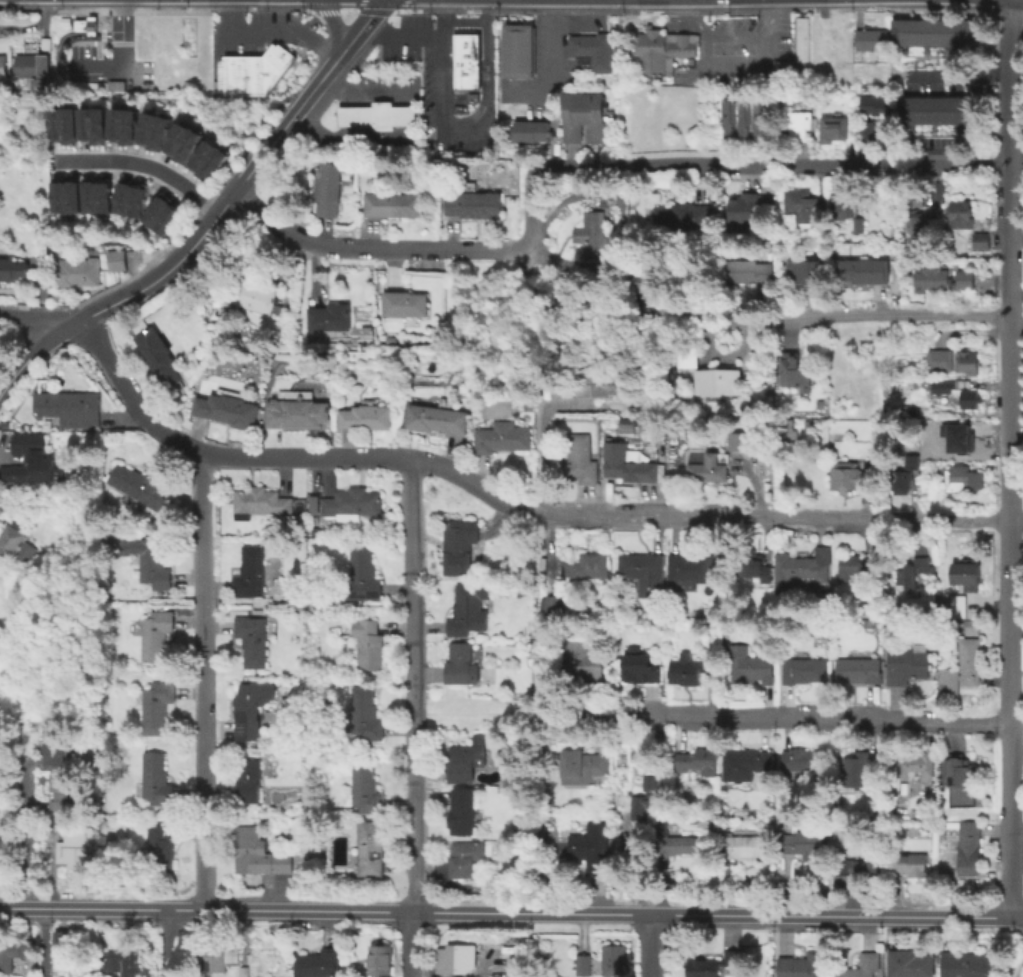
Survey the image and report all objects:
road: (402, 4)
road: (357, 5)
road: (108, 8)
road: (964, 8)
road: (230, 9)
road: (292, 9)
road: (415, 9)
road: (346, 10)
road: (393, 10)
road: (442, 10)
road: (464, 10)
road: (777, 10)
road: (801, 10)
road: (90, 11)
road: (373, 11)
road: (507, 11)
road: (551, 11)
road: (614, 11)
road: (682, 11)
road: (732, 11)
road: (325, 12)
road: (986, 12)
road: (1007, 12)
street lamp: (467, 14)
road: (100, 16)
road: (75, 17)
road: (388, 17)
road: (770, 18)
road: (689, 19)
building: (62, 21)
road: (69, 21)
road: (465, 21)
road: (331, 23)
building: (85, 25)
road: (71, 28)
parking lot: (262, 30)
road: (273, 31)
road: (453, 31)
road: (120, 32)
building: (930, 32)
road: (90, 34)
road: (100, 34)
road: (736, 34)
building: (832, 34)
road: (107, 35)
road: (396, 35)
road: (431, 36)
road: (478, 37)
building: (870, 39)
road: (100, 41)
road: (90, 42)
road: (120, 42)
road: (96, 43)
road: (244, 44)
street lamp: (108, 46)
road: (703, 48)
building: (516, 49)
building: (661, 49)
building: (591, 50)
parking lot: (86, 51)
road: (96, 51)
road: (337, 54)
building: (793, 55)
road: (248, 57)
building: (464, 58)
road: (488, 58)
road: (441, 59)
road: (728, 59)
road: (93, 64)
building: (3, 66)
building: (268, 68)
street lamp: (417, 68)
building: (32, 69)
road: (436, 69)
road: (552, 71)
road: (953, 74)
road: (63, 75)
parking lot: (138, 75)
building: (234, 75)
street lamp: (69, 81)
road: (333, 81)
parking lot: (432, 83)
building: (214, 87)
road: (374, 89)
road: (454, 91)
road: (411, 95)
road: (343, 97)
road: (355, 97)
road: (364, 97)
road: (399, 97)
building: (787, 100)
road: (451, 102)
building: (874, 104)
building: (933, 110)
road: (343, 115)
road: (355, 115)
road: (364, 115)
building: (376, 115)
road: (398, 115)
road: (411, 115)
building: (744, 115)
building: (759, 115)
building: (729, 116)
building: (571, 117)
building: (593, 117)
building: (85, 122)
building: (115, 122)
building: (56, 123)
building: (99, 124)
building: (794, 124)
building: (70, 125)
road: (444, 125)
building: (129, 126)
building: (147, 127)
building: (830, 127)
building: (865, 129)
building: (526, 130)
road: (343, 131)
road: (354, 131)
road: (364, 131)
road: (472, 131)
building: (159, 132)
road: (398, 132)
building: (177, 137)
road: (353, 138)
street lamp: (422, 138)
road: (1017, 143)
building: (187, 146)
building: (203, 154)
building: (212, 164)
road: (143, 166)
road: (774, 166)
building: (325, 188)
building: (57, 196)
building: (71, 196)
building: (911, 196)
building: (88, 197)
building: (101, 197)
building: (121, 197)
building: (135, 201)
building: (392, 204)
building: (471, 204)
building: (798, 205)
building: (741, 207)
building: (155, 208)
road: (533, 210)
building: (843, 212)
building: (958, 213)
building: (682, 215)
building: (165, 220)
road: (618, 222)
building: (918, 224)
road: (198, 234)
building: (590, 235)
building: (978, 240)
building: (38, 248)
road: (373, 248)
building: (115, 260)
building: (12, 269)
building: (861, 270)
building: (747, 271)
building: (802, 271)
building: (74, 272)
building: (647, 272)
building: (939, 279)
building: (255, 297)
building: (403, 303)
road: (34, 317)
building: (327, 317)
road: (742, 317)
road: (1017, 321)
building: (933, 332)
building: (391, 340)
road: (31, 351)
building: (155, 355)
building: (951, 361)
building: (793, 371)
building: (897, 372)
building: (709, 375)
building: (603, 384)
building: (955, 391)
building: (530, 404)
building: (69, 408)
building: (230, 410)
building: (301, 414)
building: (370, 417)
building: (439, 419)
building: (787, 431)
building: (959, 436)
building: (504, 437)
building: (738, 440)
road: (548, 453)
road: (1011, 457)
building: (581, 459)
building: (34, 460)
building: (912, 462)
building: (628, 463)
building: (706, 468)
building: (851, 475)
building: (960, 477)
building: (900, 478)
building: (139, 486)
building: (263, 502)
building: (355, 502)
road: (506, 506)
road: (1017, 520)
building: (19, 542)
building: (460, 545)
building: (155, 564)
building: (588, 566)
building: (850, 566)
building: (756, 568)
building: (689, 571)
building: (644, 572)
building: (806, 572)
building: (253, 573)
building: (965, 574)
building: (916, 575)
building: (361, 578)
building: (553, 604)
building: (818, 605)
building: (958, 605)
building: (867, 607)
building: (709, 610)
building: (466, 613)
building: (870, 623)
building: (820, 630)
building: (156, 635)
building: (252, 640)
building: (367, 643)
building: (727, 645)
building: (583, 660)
building: (459, 663)
building: (908, 664)
building: (751, 665)
building: (641, 667)
building: (962, 667)
building: (692, 669)
building: (804, 670)
building: (859, 670)
road: (206, 680)
building: (156, 706)
building: (249, 708)
building: (366, 714)
road: (503, 716)
road: (805, 717)
road: (418, 719)
building: (54, 744)
building: (802, 759)
building: (466, 760)
building: (697, 761)
building: (745, 763)
building: (856, 764)
building: (874, 764)
building: (915, 764)
building: (583, 768)
building: (956, 771)
building: (156, 779)
building: (249, 781)
building: (364, 788)
building: (59, 791)
building: (103, 796)
building: (932, 796)
building: (646, 797)
building: (463, 811)
building: (53, 829)
road: (26, 833)
building: (5, 838)
building: (802, 842)
building: (962, 843)
building: (682, 846)
building: (77, 847)
building: (591, 847)
building: (745, 847)
building: (371, 848)
building: (160, 849)
building: (259, 853)
building: (300, 857)
building: (466, 858)
building: (907, 863)
building: (857, 868)
road: (511, 912)
road: (40, 941)
road: (168, 942)
road: (647, 945)
building: (61, 947)
building: (13, 952)
building: (216, 957)
building: (455, 959)
building: (614, 959)
building: (380, 960)
building: (128, 962)
building: (318, 963)
building: (910, 963)
building: (583, 964)
building: (712, 964)
building: (968, 964)
building: (804, 965)
building: (861, 966)
building: (519, 968)
building: (250, 972)
road: (1020, 972)

